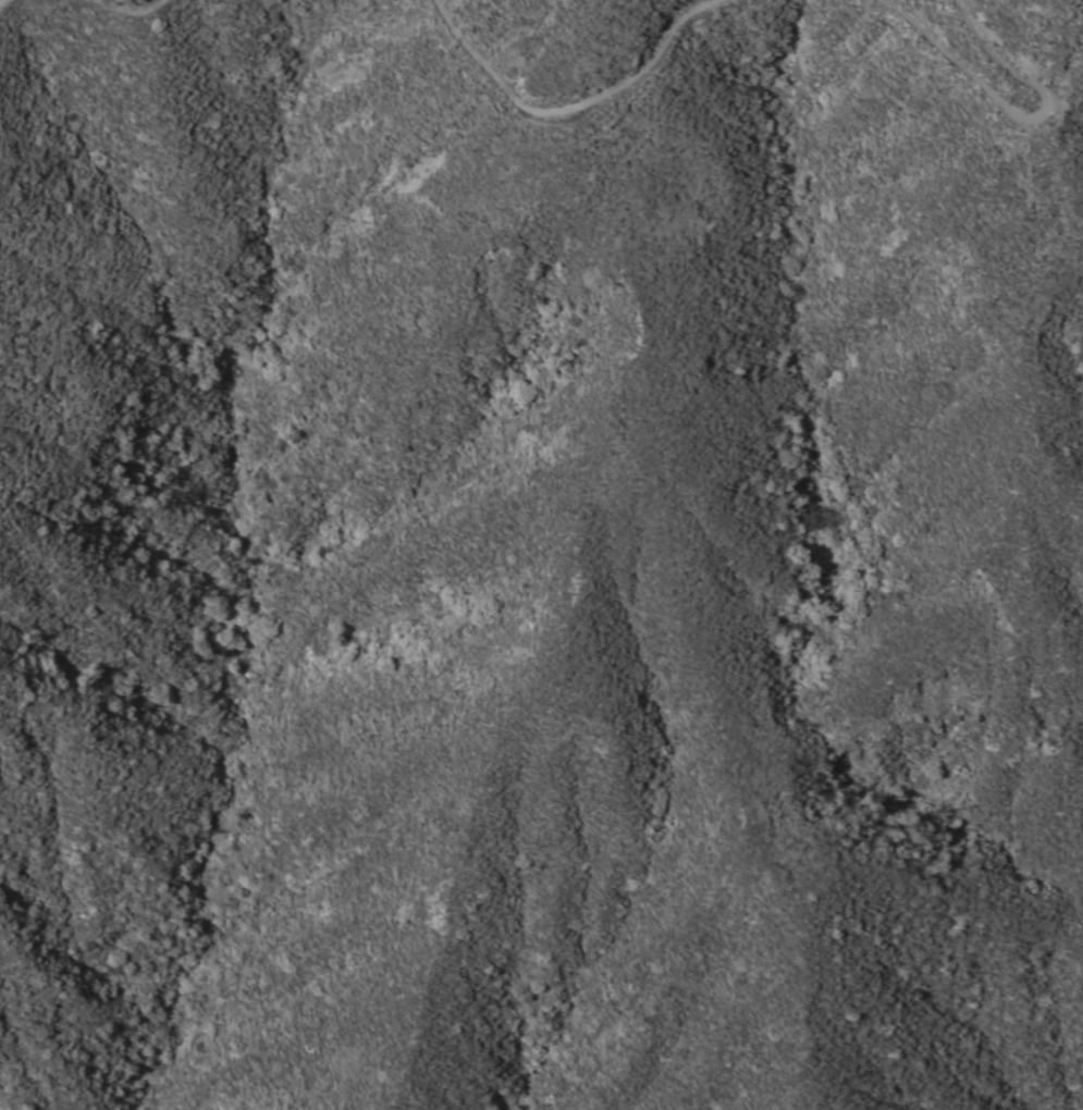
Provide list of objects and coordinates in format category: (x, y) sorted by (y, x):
road: (118, 13)
road: (564, 114)
road: (1013, 114)

